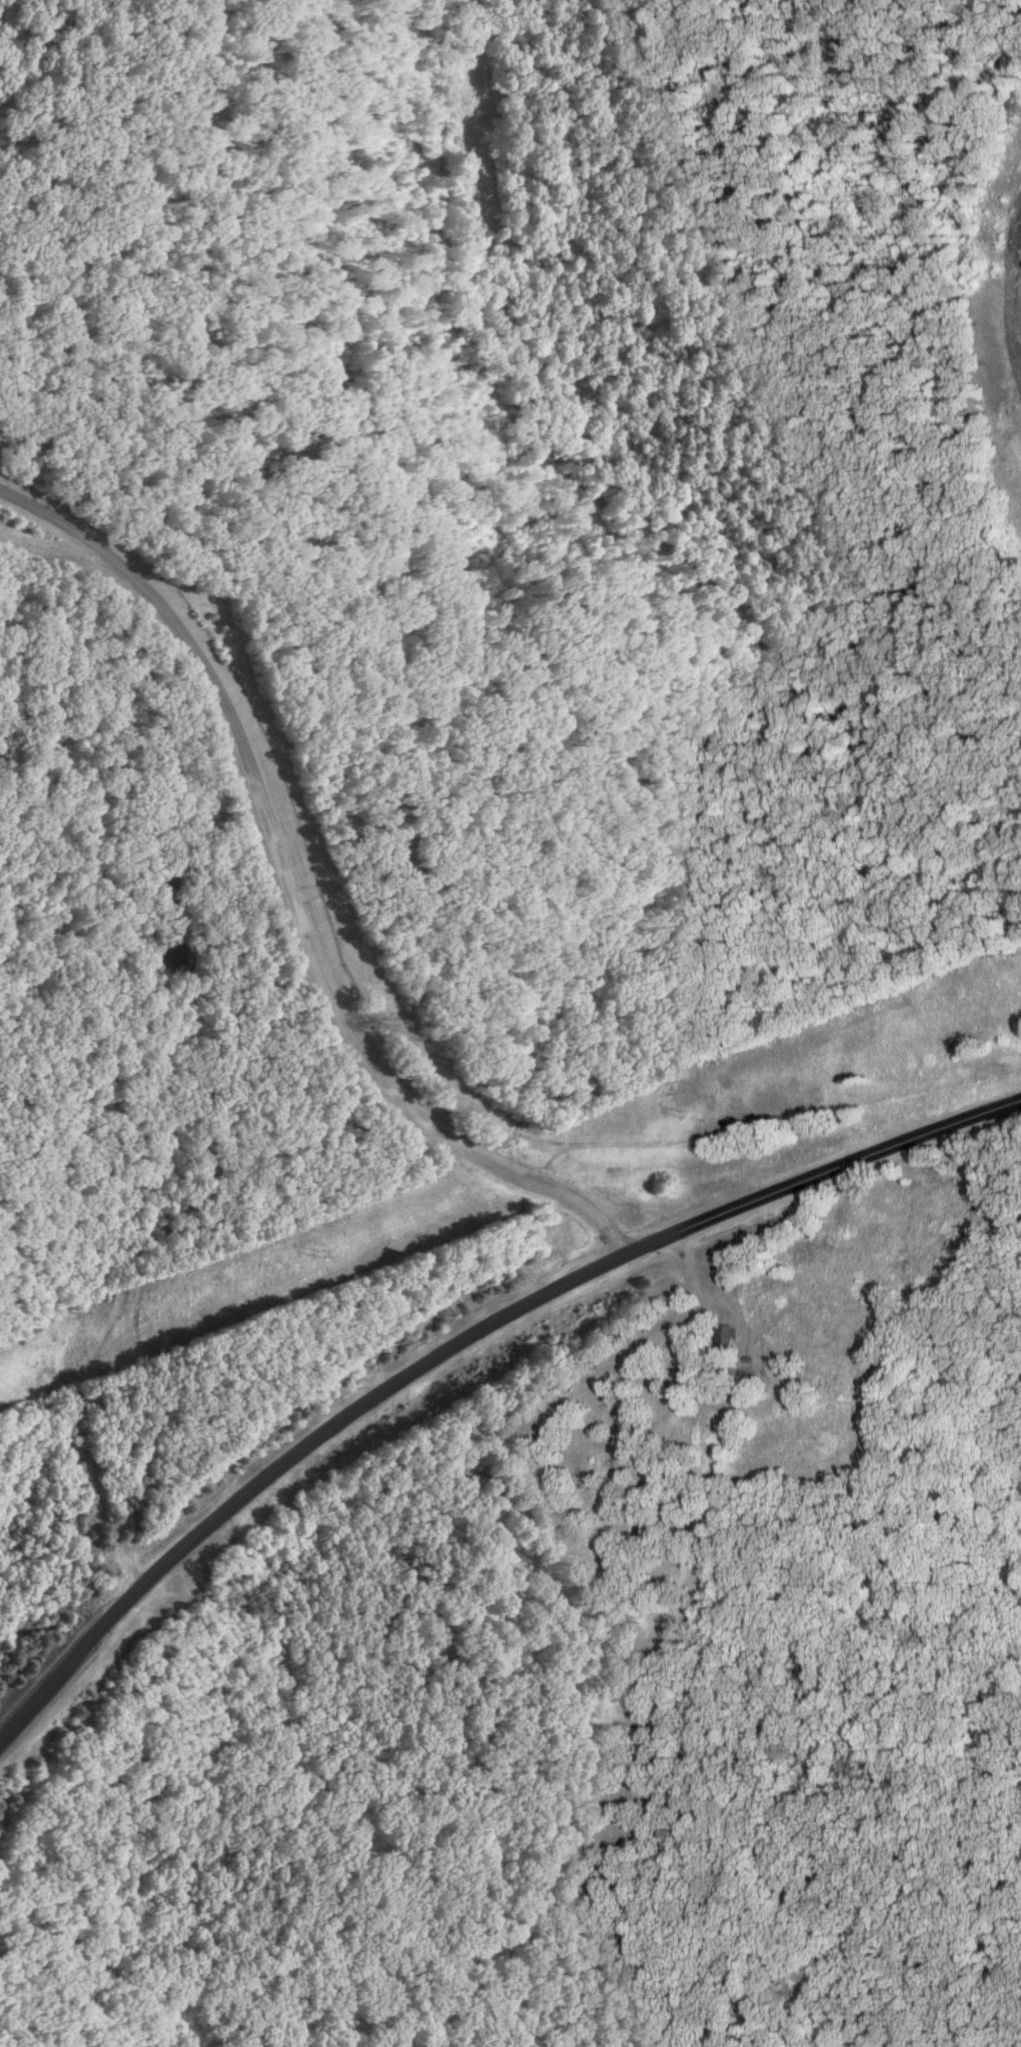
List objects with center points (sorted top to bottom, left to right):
road: (801, 45)
road: (289, 893)
power tower: (676, 1115)
power tower: (317, 1255)
building: (726, 1335)
road: (468, 1339)
road: (736, 1349)
road: (678, 1404)
road: (609, 1501)

